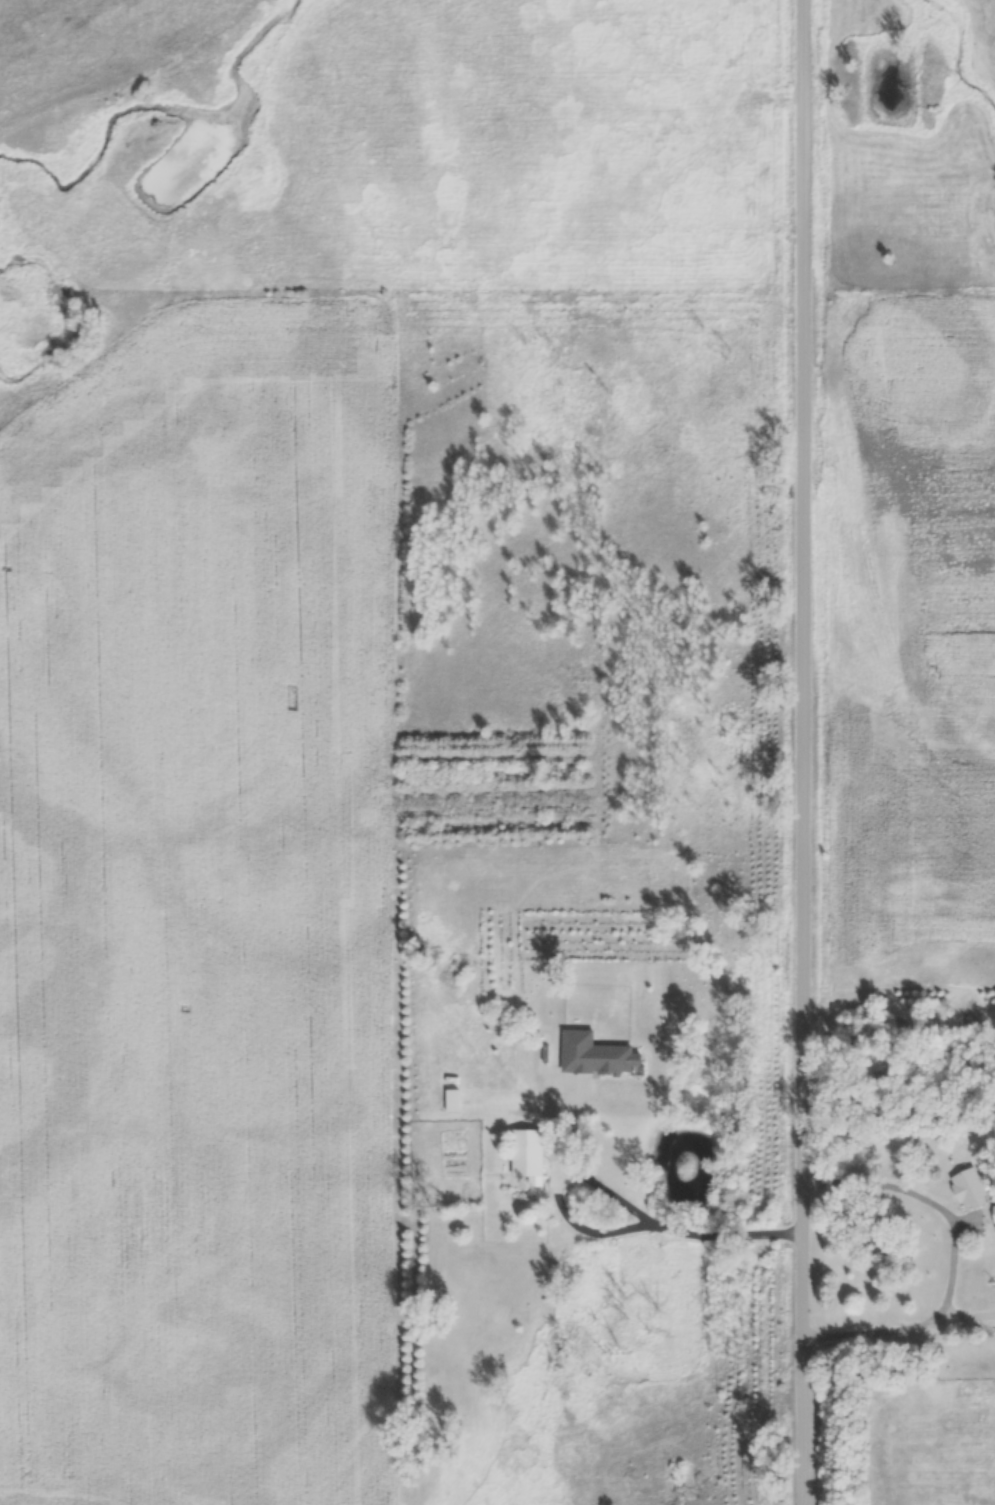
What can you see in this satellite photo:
road: (806, 752)
building: (602, 1121)
building: (529, 1153)
building: (971, 1188)
road: (650, 1220)
road: (921, 1324)

